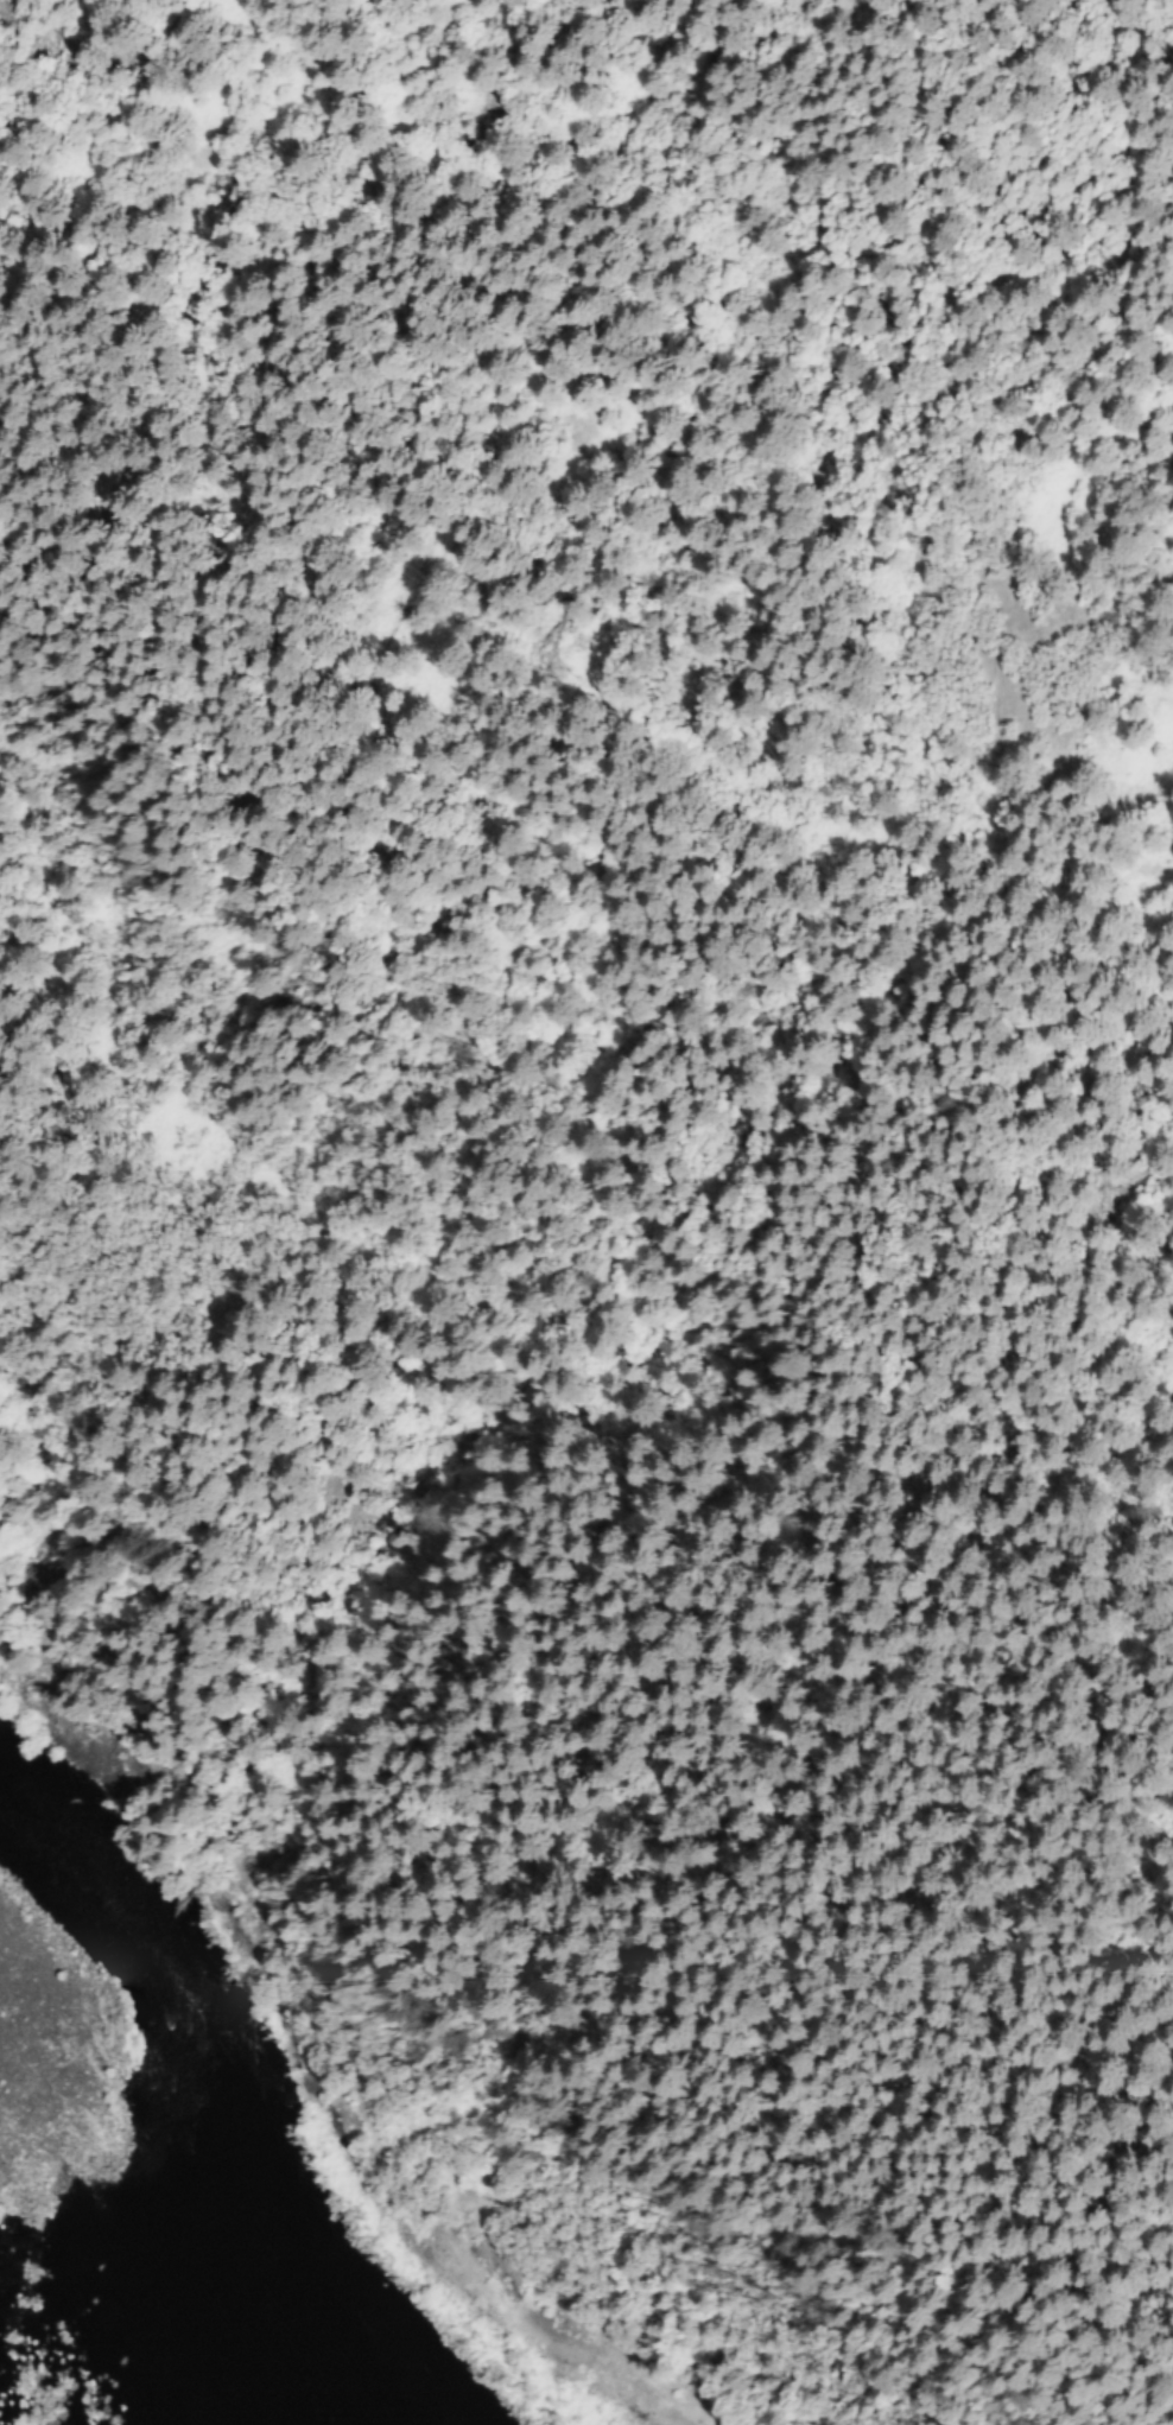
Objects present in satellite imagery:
road: (458, 1983)
river: (152, 2357)

